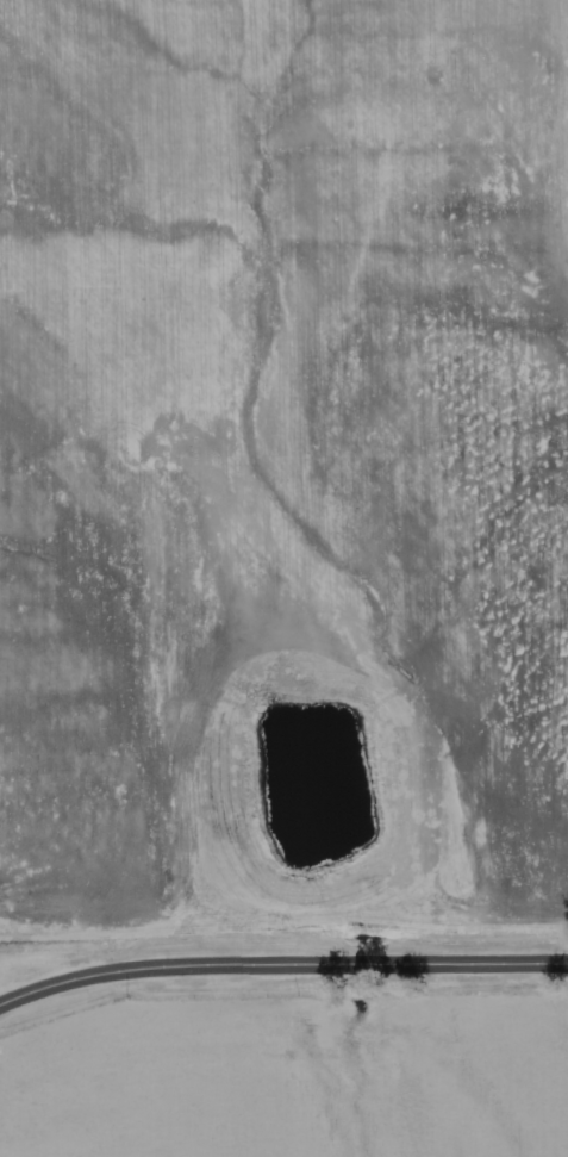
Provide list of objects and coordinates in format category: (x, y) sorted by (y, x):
road: (281, 968)

